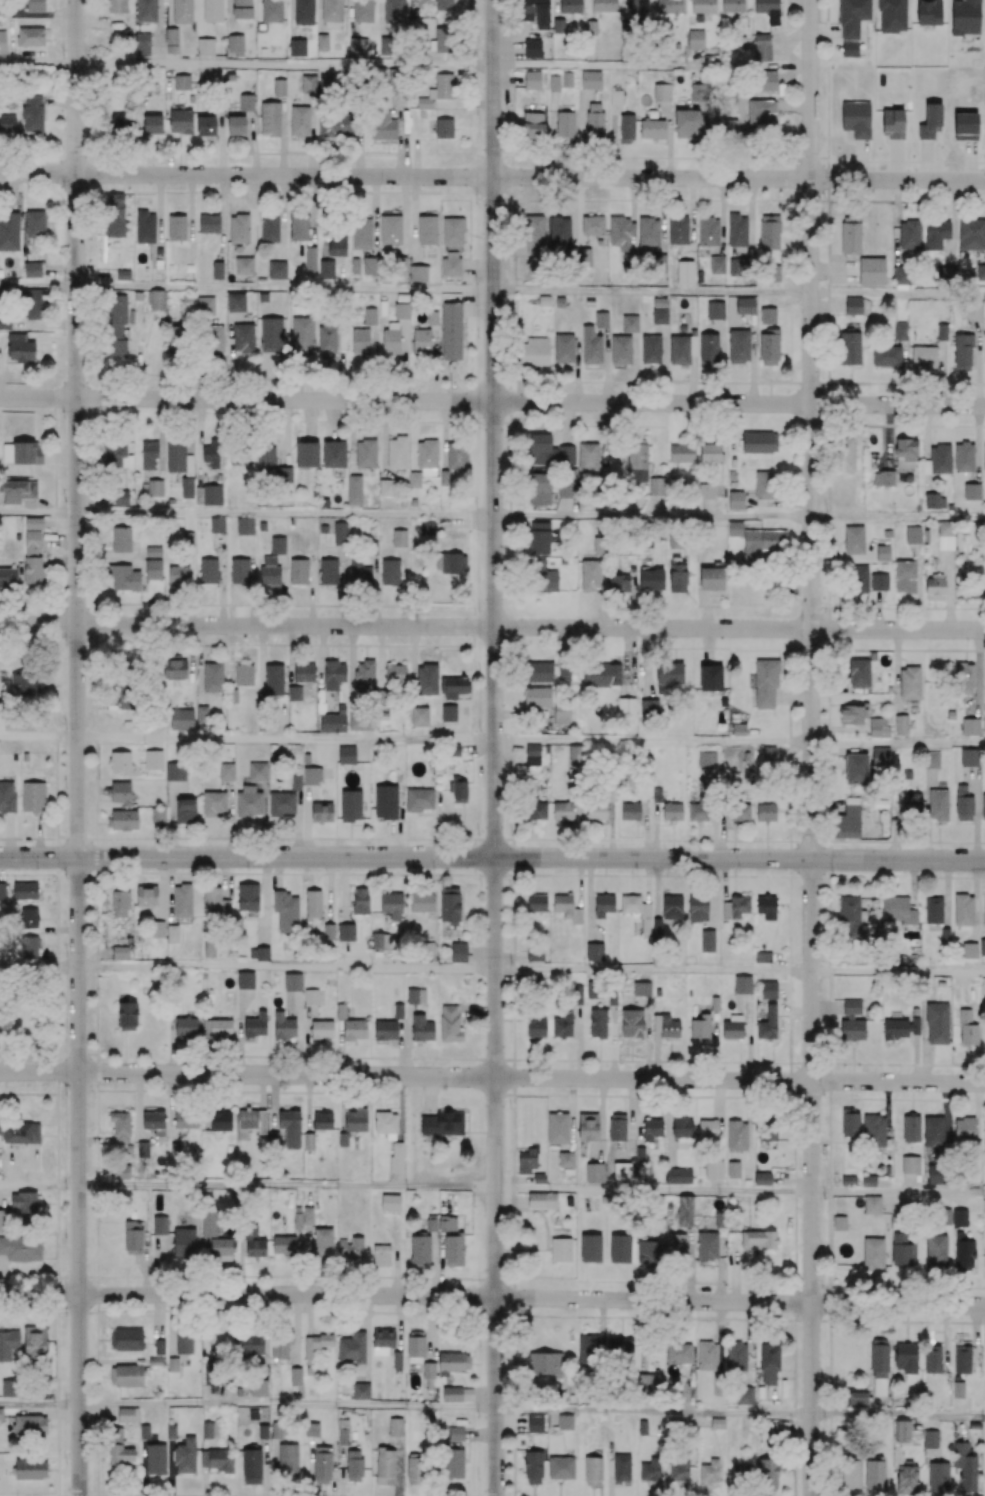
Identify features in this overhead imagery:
building: (444, 4)
building: (117, 5)
building: (604, 5)
building: (732, 5)
building: (35, 6)
building: (4, 9)
building: (146, 10)
building: (212, 10)
building: (393, 10)
building: (182, 11)
building: (303, 11)
building: (558, 25)
building: (591, 27)
building: (31, 36)
building: (695, 38)
building: (322, 41)
building: (3, 42)
building: (142, 43)
building: (677, 45)
building: (205, 46)
building: (297, 47)
building: (532, 48)
road: (38, 63)
road: (285, 65)
road: (652, 67)
building: (566, 78)
building: (590, 78)
building: (532, 79)
building: (553, 82)
building: (422, 113)
building: (565, 123)
building: (444, 127)
road: (311, 134)
road: (282, 135)
road: (253, 142)
road: (492, 176)
road: (251, 215)
road: (282, 216)
road: (221, 217)
road: (952, 222)
building: (35, 223)
building: (208, 223)
building: (144, 227)
building: (176, 227)
building: (239, 228)
building: (390, 228)
building: (427, 229)
building: (678, 229)
building: (736, 229)
building: (648, 230)
building: (708, 230)
building: (585, 256)
road: (984, 259)
building: (243, 264)
building: (687, 264)
building: (717, 264)
road: (478, 266)
building: (326, 267)
road: (59, 268)
building: (32, 269)
building: (217, 269)
building: (418, 272)
building: (122, 274)
road: (38, 286)
road: (285, 289)
road: (652, 292)
road: (898, 293)
building: (544, 300)
building: (559, 301)
building: (590, 301)
building: (235, 302)
road: (827, 304)
building: (745, 305)
building: (715, 310)
building: (369, 315)
building: (768, 315)
building: (601, 319)
building: (451, 330)
building: (738, 345)
building: (620, 349)
building: (651, 349)
road: (752, 358)
road: (403, 359)
road: (435, 363)
road: (663, 363)
road: (604, 365)
road: (634, 367)
road: (576, 369)
road: (691, 379)
road: (452, 381)
road: (492, 401)
road: (332, 419)
road: (308, 420)
road: (77, 428)
road: (494, 428)
road: (812, 429)
road: (285, 432)
road: (443, 434)
road: (412, 435)
road: (352, 437)
road: (384, 439)
building: (306, 453)
building: (366, 453)
building: (334, 454)
building: (187, 487)
building: (354, 489)
road: (38, 512)
road: (286, 515)
road: (653, 518)
road: (898, 520)
building: (34, 522)
building: (244, 525)
building: (262, 526)
building: (121, 538)
building: (188, 539)
building: (278, 544)
building: (297, 570)
road: (492, 626)
road: (39, 737)
road: (286, 740)
road: (653, 743)
road: (898, 744)
road: (492, 857)
road: (93, 956)
road: (39, 968)
road: (287, 969)
road: (653, 971)
road: (898, 973)
road: (492, 1077)
road: (79, 1176)
road: (496, 1176)
road: (812, 1177)
road: (287, 1185)
road: (39, 1186)
road: (740, 1191)
road: (492, 1297)
road: (288, 1403)
road: (40, 1406)
road: (654, 1412)
road: (898, 1416)
building: (561, 1468)

